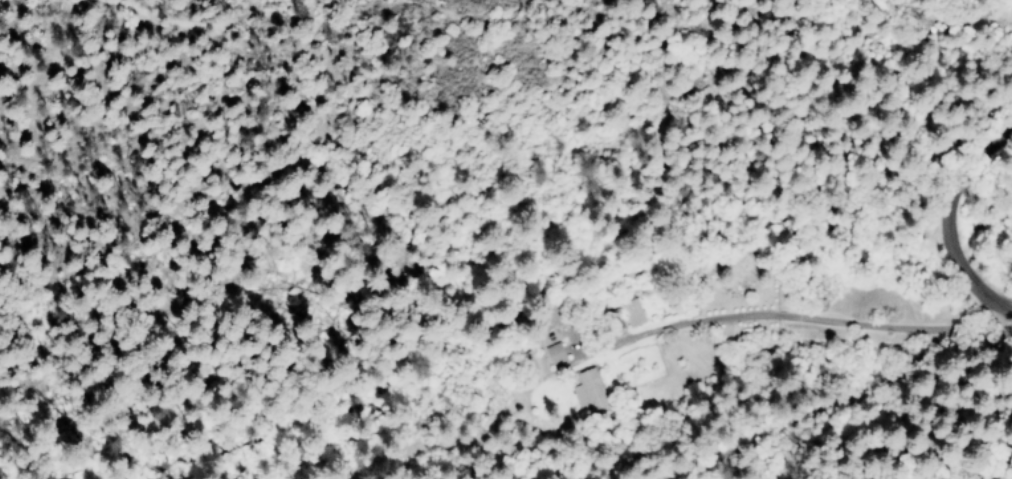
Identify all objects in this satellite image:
road: (947, 232)
building: (631, 312)
building: (588, 391)

